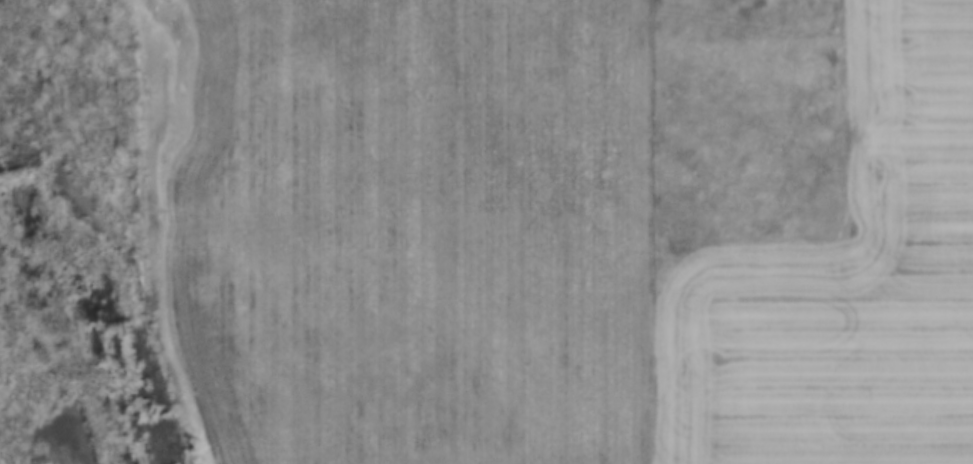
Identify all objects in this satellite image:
road: (873, 151)

